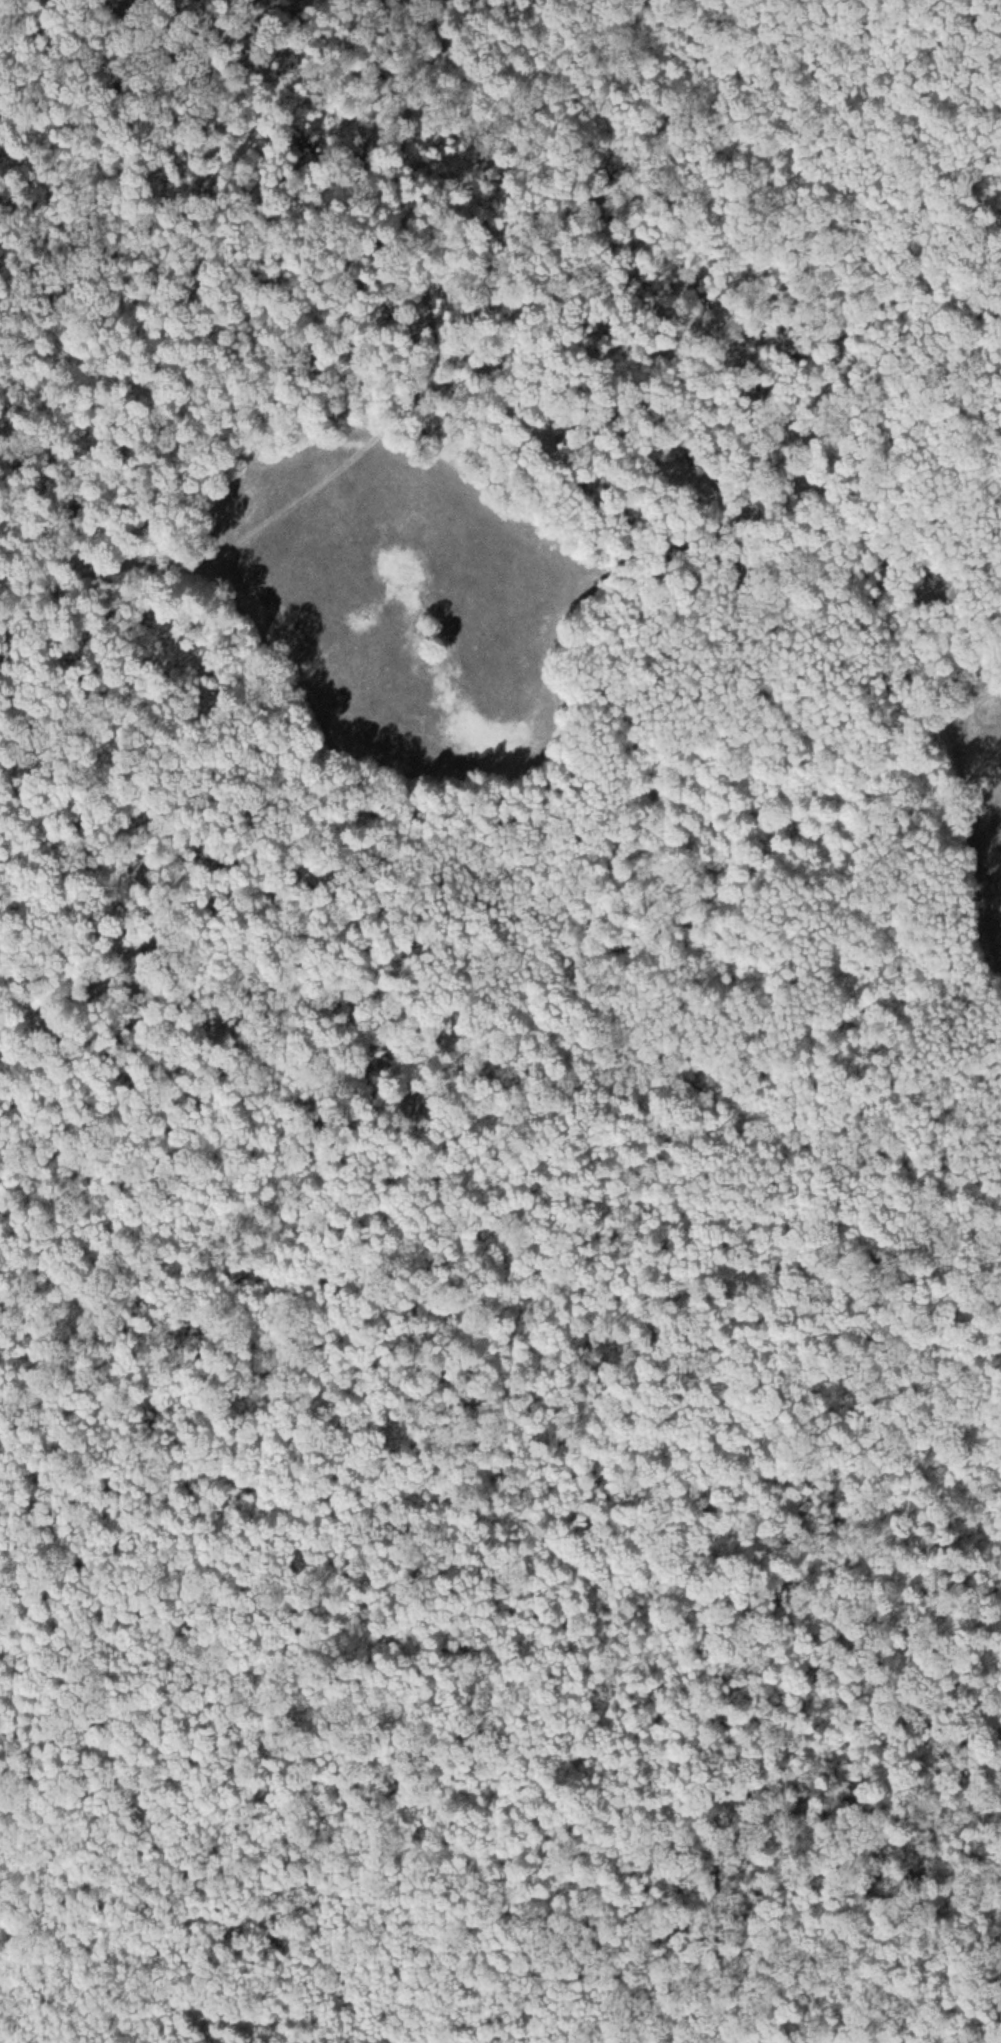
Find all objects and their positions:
road: (512, 1052)

